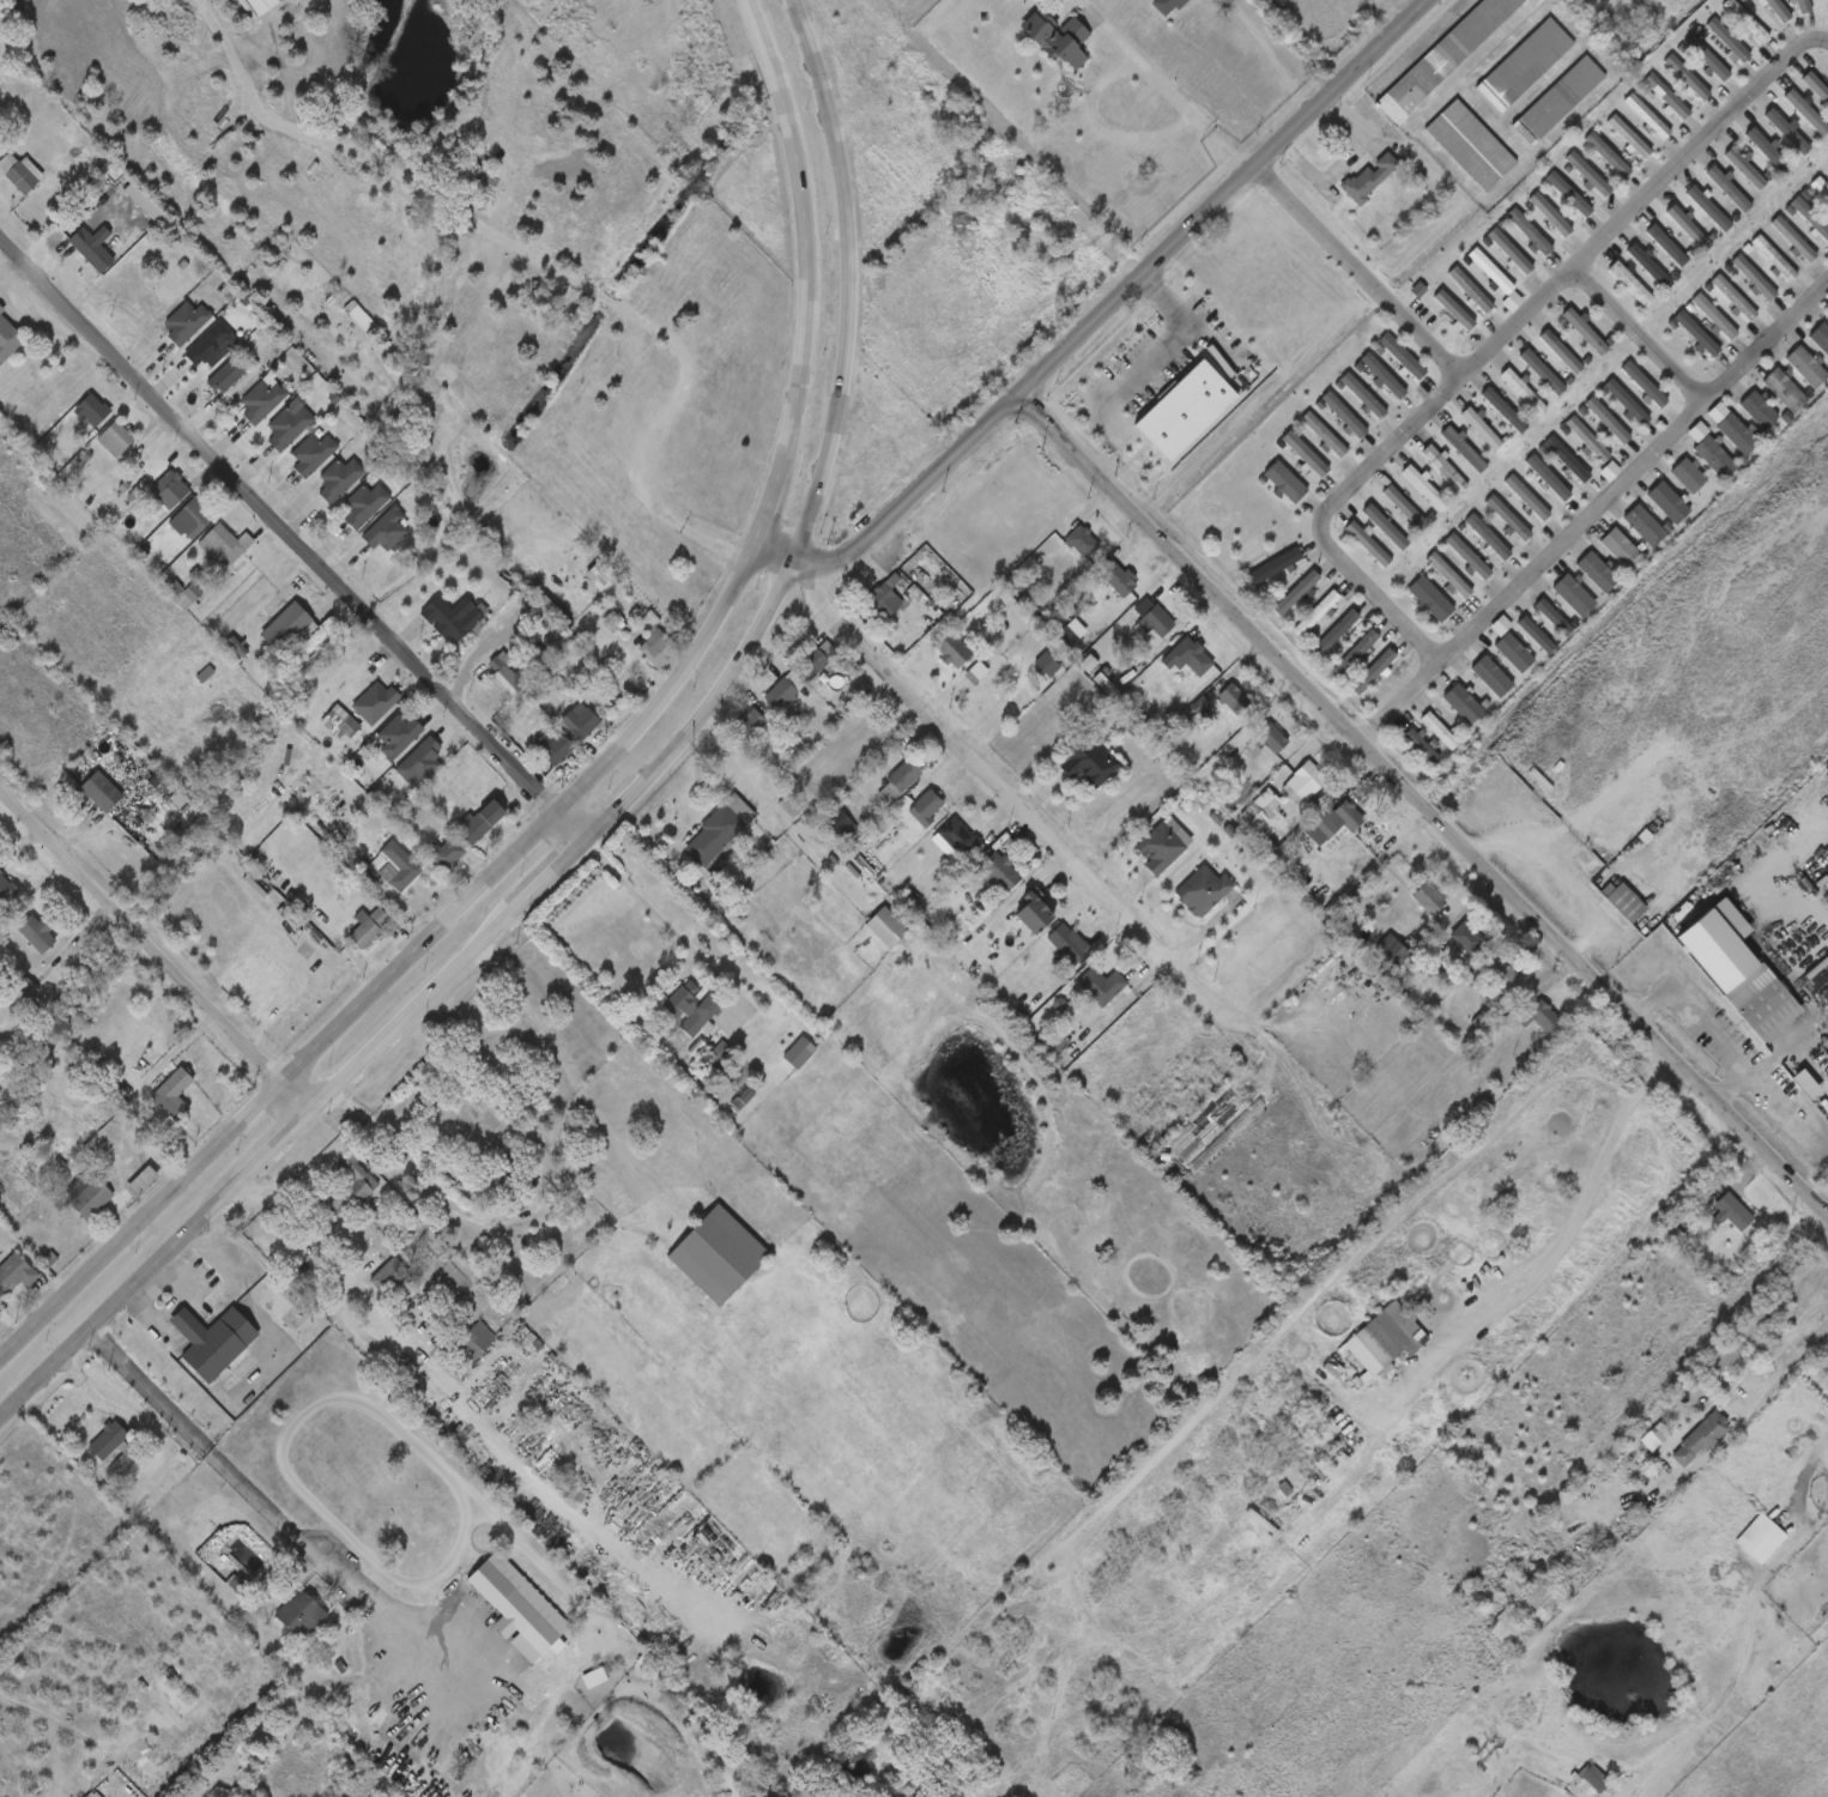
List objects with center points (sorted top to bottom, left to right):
building: (1168, 6)
building: (1804, 6)
building: (1779, 10)
building: (1747, 22)
building: (1055, 40)
building: (1729, 41)
road: (1271, 53)
building: (1446, 58)
building: (1707, 59)
building: (1525, 65)
building: (1688, 78)
road: (1163, 86)
building: (1816, 86)
building: (1667, 97)
building: (1558, 101)
building: (1805, 111)
building: (1647, 115)
road: (1101, 127)
building: (1785, 131)
building: (1629, 135)
building: (1471, 144)
building: (1767, 150)
building: (1609, 155)
building: (1677, 164)
building: (1827, 165)
building: (1744, 168)
building: (20, 173)
road: (1340, 173)
building: (1590, 174)
building: (1370, 180)
building: (1726, 188)
building: (1820, 189)
building: (1569, 194)
road: (458, 200)
building: (1712, 207)
building: (1550, 213)
building: (1809, 219)
building: (1693, 228)
building: (1529, 231)
road: (812, 232)
building: (1791, 240)
building: (1670, 244)
building: (93, 248)
building: (1509, 252)
building: (1772, 259)
building: (1652, 266)
building: (1491, 271)
road: (1358, 272)
building: (1753, 279)
building: (1635, 284)
building: (686, 285)
building: (1470, 289)
building: (1732, 297)
building: (1827, 298)
building: (1, 309)
building: (1454, 311)
road: (1104, 314)
building: (1713, 317)
building: (187, 322)
building: (1586, 331)
building: (1695, 334)
road: (1640, 335)
road: (1502, 337)
building: (8, 339)
building: (1820, 339)
road: (1163, 345)
building: (211, 346)
building: (1562, 351)
building: (1403, 357)
building: (1804, 367)
building: (1543, 370)
building: (599, 374)
building: (229, 375)
building: (1384, 376)
building: (1647, 385)
building: (1525, 391)
building: (1781, 392)
building: (1363, 395)
building: (264, 401)
building: (573, 403)
building: (1632, 405)
building: (1506, 410)
building: (93, 411)
building: (1755, 411)
building: (1344, 415)
building: (1611, 420)
building: (290, 426)
building: (1483, 428)
building: (1324, 435)
building: (1735, 435)
building: (116, 440)
building: (1590, 440)
road: (611, 449)
building: (1467, 450)
building: (314, 454)
building: (1307, 454)
building: (1712, 459)
building: (1570, 460)
building: (1445, 467)
building: (1287, 476)
building: (1685, 476)
building: (340, 479)
building: (1550, 479)
building: (1428, 488)
building: (169, 491)
building: (1531, 498)
building: (1665, 503)
building: (367, 504)
building: (1408, 507)
road: (775, 510)
road: (1592, 514)
building: (192, 519)
building: (1511, 519)
building: (604, 522)
building: (1641, 526)
building: (1388, 527)
building: (387, 531)
building: (1490, 538)
road: (293, 541)
building: (1084, 541)
building: (1370, 543)
building: (225, 544)
building: (1617, 547)
building: (1471, 559)
building: (1276, 565)
building: (1449, 576)
building: (1119, 577)
building: (1541, 589)
building: (1296, 593)
building: (886, 595)
building: (1434, 599)
building: (1521, 609)
building: (1318, 612)
building: (1154, 617)
building: (459, 623)
building: (287, 627)
building: (1337, 631)
building: (1481, 647)
building: (660, 648)
building: (952, 652)
building: (1356, 652)
building: (1199, 660)
building: (813, 661)
building: (1461, 666)
building: (1051, 667)
building: (1373, 671)
building: (510, 676)
building: (782, 694)
building: (1236, 698)
building: (380, 700)
building: (529, 714)
building: (340, 721)
building: (582, 722)
building: (750, 725)
building: (1442, 730)
building: (400, 734)
building: (1267, 737)
building: (1422, 745)
building: (555, 746)
road: (728, 755)
building: (422, 760)
building: (1088, 762)
building: (906, 775)
building: (1308, 780)
building: (98, 791)
building: (308, 793)
road: (625, 805)
building: (927, 807)
road: (1421, 809)
building: (1265, 817)
building: (482, 821)
building: (1336, 821)
building: (839, 822)
building: (721, 831)
building: (960, 837)
building: (1163, 847)
road: (1051, 849)
building: (447, 853)
building: (398, 865)
building: (1001, 872)
road: (1552, 876)
road: (1768, 883)
building: (6, 890)
building: (1201, 891)
building: (1431, 897)
building: (1629, 903)
building: (1037, 912)
road: (664, 920)
building: (369, 927)
building: (888, 927)
building: (37, 933)
building: (1470, 937)
building: (1070, 945)
road: (156, 950)
building: (1394, 955)
building: (1705, 961)
road: (399, 967)
building: (1496, 979)
building: (1102, 985)
building: (1084, 997)
building: (1759, 1002)
building: (695, 1008)
building: (1545, 1015)
road: (1707, 1018)
road: (1787, 1042)
building: (799, 1053)
road: (149, 1079)
building: (174, 1093)
road: (416, 1167)
building: (512, 1176)
building: (350, 1185)
building: (91, 1197)
building: (1729, 1210)
road: (1554, 1240)
building: (716, 1254)
building: (14, 1272)
building: (387, 1282)
building: (452, 1282)
road: (178, 1305)
building: (468, 1339)
building: (214, 1341)
building: (1381, 1345)
road: (1779, 1371)
building: (1705, 1438)
building: (1656, 1439)
building: (131, 1451)
road: (252, 1488)
building: (1760, 1538)
building: (1533, 1599)
building: (519, 1608)
building: (298, 1615)
building: (1508, 1629)
building: (1593, 1777)

